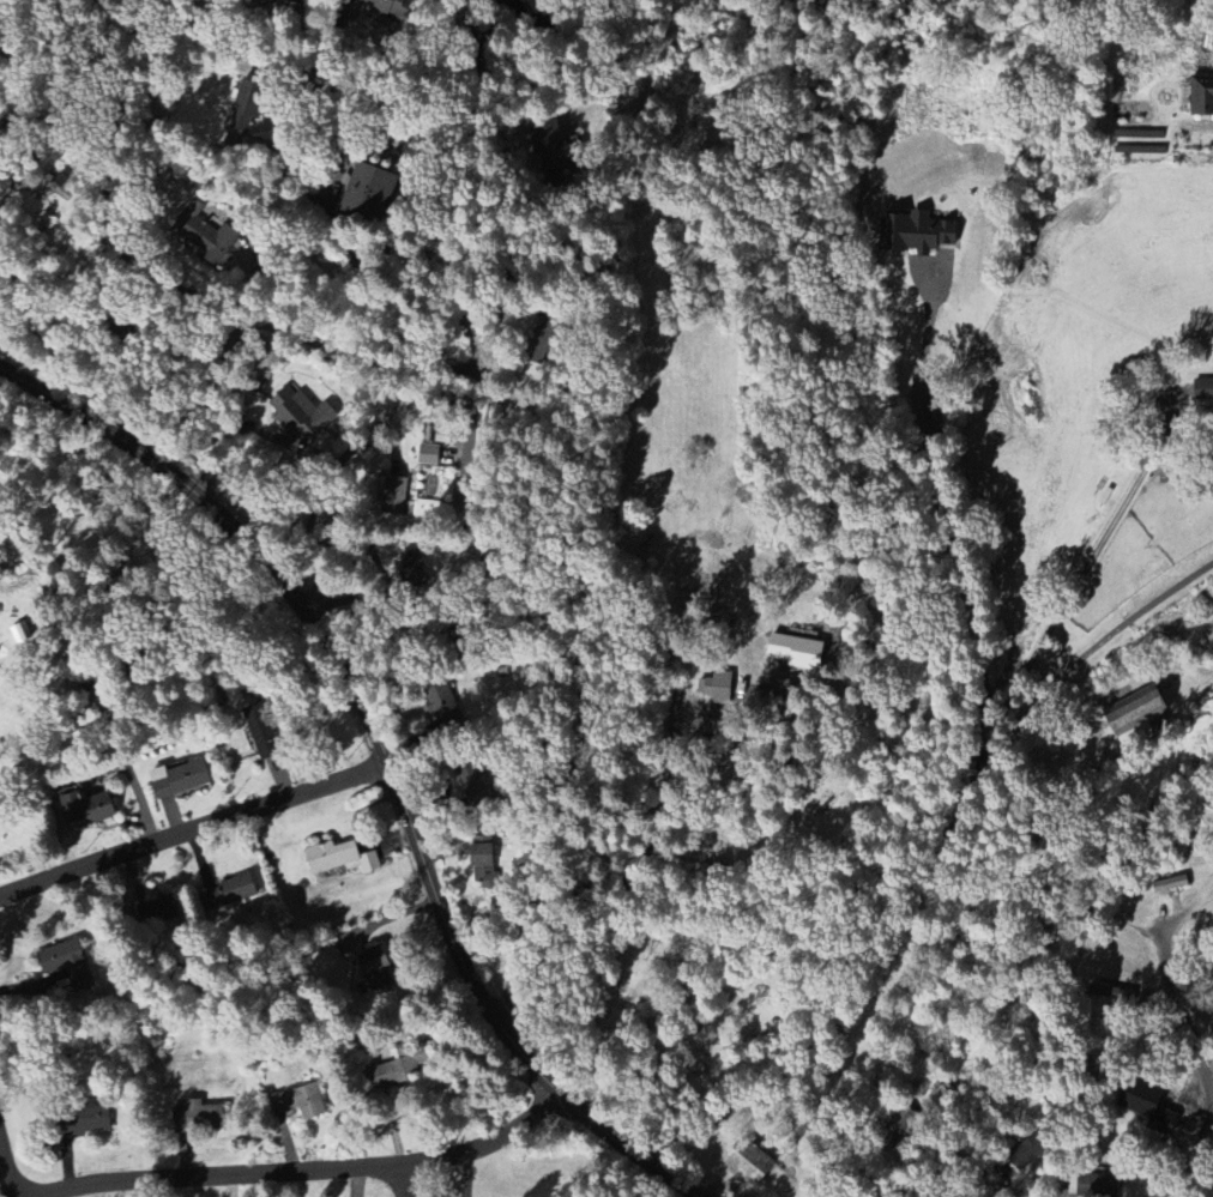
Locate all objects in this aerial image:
building: (265, 1)
building: (393, 8)
road: (120, 16)
building: (1202, 95)
building: (245, 110)
building: (550, 143)
road: (507, 182)
building: (55, 186)
building: (369, 191)
building: (917, 231)
building: (205, 235)
road: (144, 271)
road: (253, 288)
road: (26, 314)
building: (1205, 389)
building: (301, 413)
building: (429, 454)
building: (394, 495)
road: (951, 525)
road: (485, 542)
building: (412, 567)
road: (1080, 576)
building: (797, 651)
building: (717, 684)
building: (442, 703)
building: (1141, 714)
building: (261, 730)
road: (385, 755)
building: (180, 779)
building: (472, 780)
road: (137, 788)
building: (87, 808)
road: (194, 832)
road: (941, 845)
building: (340, 858)
building: (484, 863)
building: (1170, 883)
building: (230, 891)
building: (158, 911)
building: (68, 963)
building: (376, 967)
building: (1111, 993)
road: (1191, 1042)
building: (392, 1072)
building: (297, 1100)
building: (1148, 1105)
building: (199, 1117)
building: (86, 1119)
building: (1028, 1154)
building: (749, 1162)
road: (303, 1169)
road: (6, 1171)
road: (402, 1180)
road: (974, 1183)
building: (1099, 1185)

